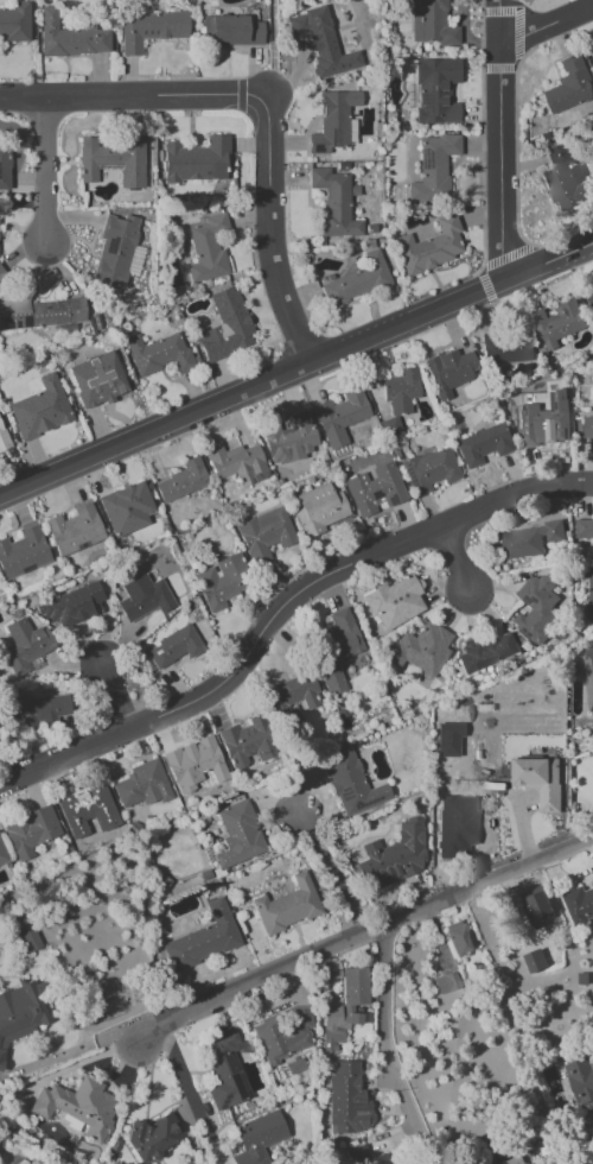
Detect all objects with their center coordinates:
road: (499, 20)
building: (14, 21)
building: (431, 23)
building: (149, 29)
building: (230, 31)
building: (70, 38)
building: (321, 43)
building: (592, 48)
building: (567, 86)
building: (436, 90)
road: (123, 96)
road: (499, 112)
building: (332, 121)
building: (111, 160)
building: (196, 160)
building: (4, 167)
building: (433, 169)
road: (46, 173)
building: (563, 178)
building: (333, 203)
road: (268, 228)
building: (429, 246)
building: (208, 248)
building: (115, 253)
building: (589, 301)
building: (42, 312)
building: (556, 324)
building: (224, 327)
building: (505, 347)
building: (159, 354)
road: (296, 371)
building: (449, 371)
building: (97, 379)
building: (400, 390)
building: (40, 409)
building: (339, 417)
building: (544, 420)
building: (389, 426)
building: (587, 428)
building: (2, 439)
building: (289, 439)
building: (482, 444)
building: (237, 463)
building: (429, 470)
building: (181, 481)
building: (375, 488)
building: (126, 508)
building: (319, 510)
building: (584, 529)
building: (74, 530)
building: (263, 533)
building: (527, 540)
building: (23, 552)
road: (455, 562)
building: (221, 582)
building: (589, 594)
building: (142, 597)
building: (394, 602)
building: (70, 606)
building: (536, 607)
road: (281, 608)
building: (25, 646)
building: (173, 647)
building: (338, 650)
building: (419, 650)
building: (485, 651)
building: (588, 675)
road: (113, 698)
building: (34, 710)
building: (592, 729)
building: (248, 744)
building: (197, 761)
building: (442, 764)
building: (540, 780)
building: (351, 784)
building: (142, 785)
building: (87, 809)
building: (30, 830)
building: (237, 835)
building: (447, 835)
building: (2, 855)
building: (393, 856)
road: (332, 873)
building: (579, 903)
building: (287, 905)
building: (534, 905)
road: (359, 934)
building: (203, 938)
building: (458, 938)
building: (26, 940)
building: (534, 961)
building: (446, 982)
building: (353, 986)
building: (21, 1011)
building: (336, 1026)
building: (283, 1033)
road: (385, 1048)
road: (69, 1051)
road: (70, 1067)
building: (223, 1071)
road: (186, 1086)
building: (582, 1087)
building: (347, 1100)
building: (76, 1107)
building: (154, 1134)
building: (257, 1138)
building: (512, 1160)

